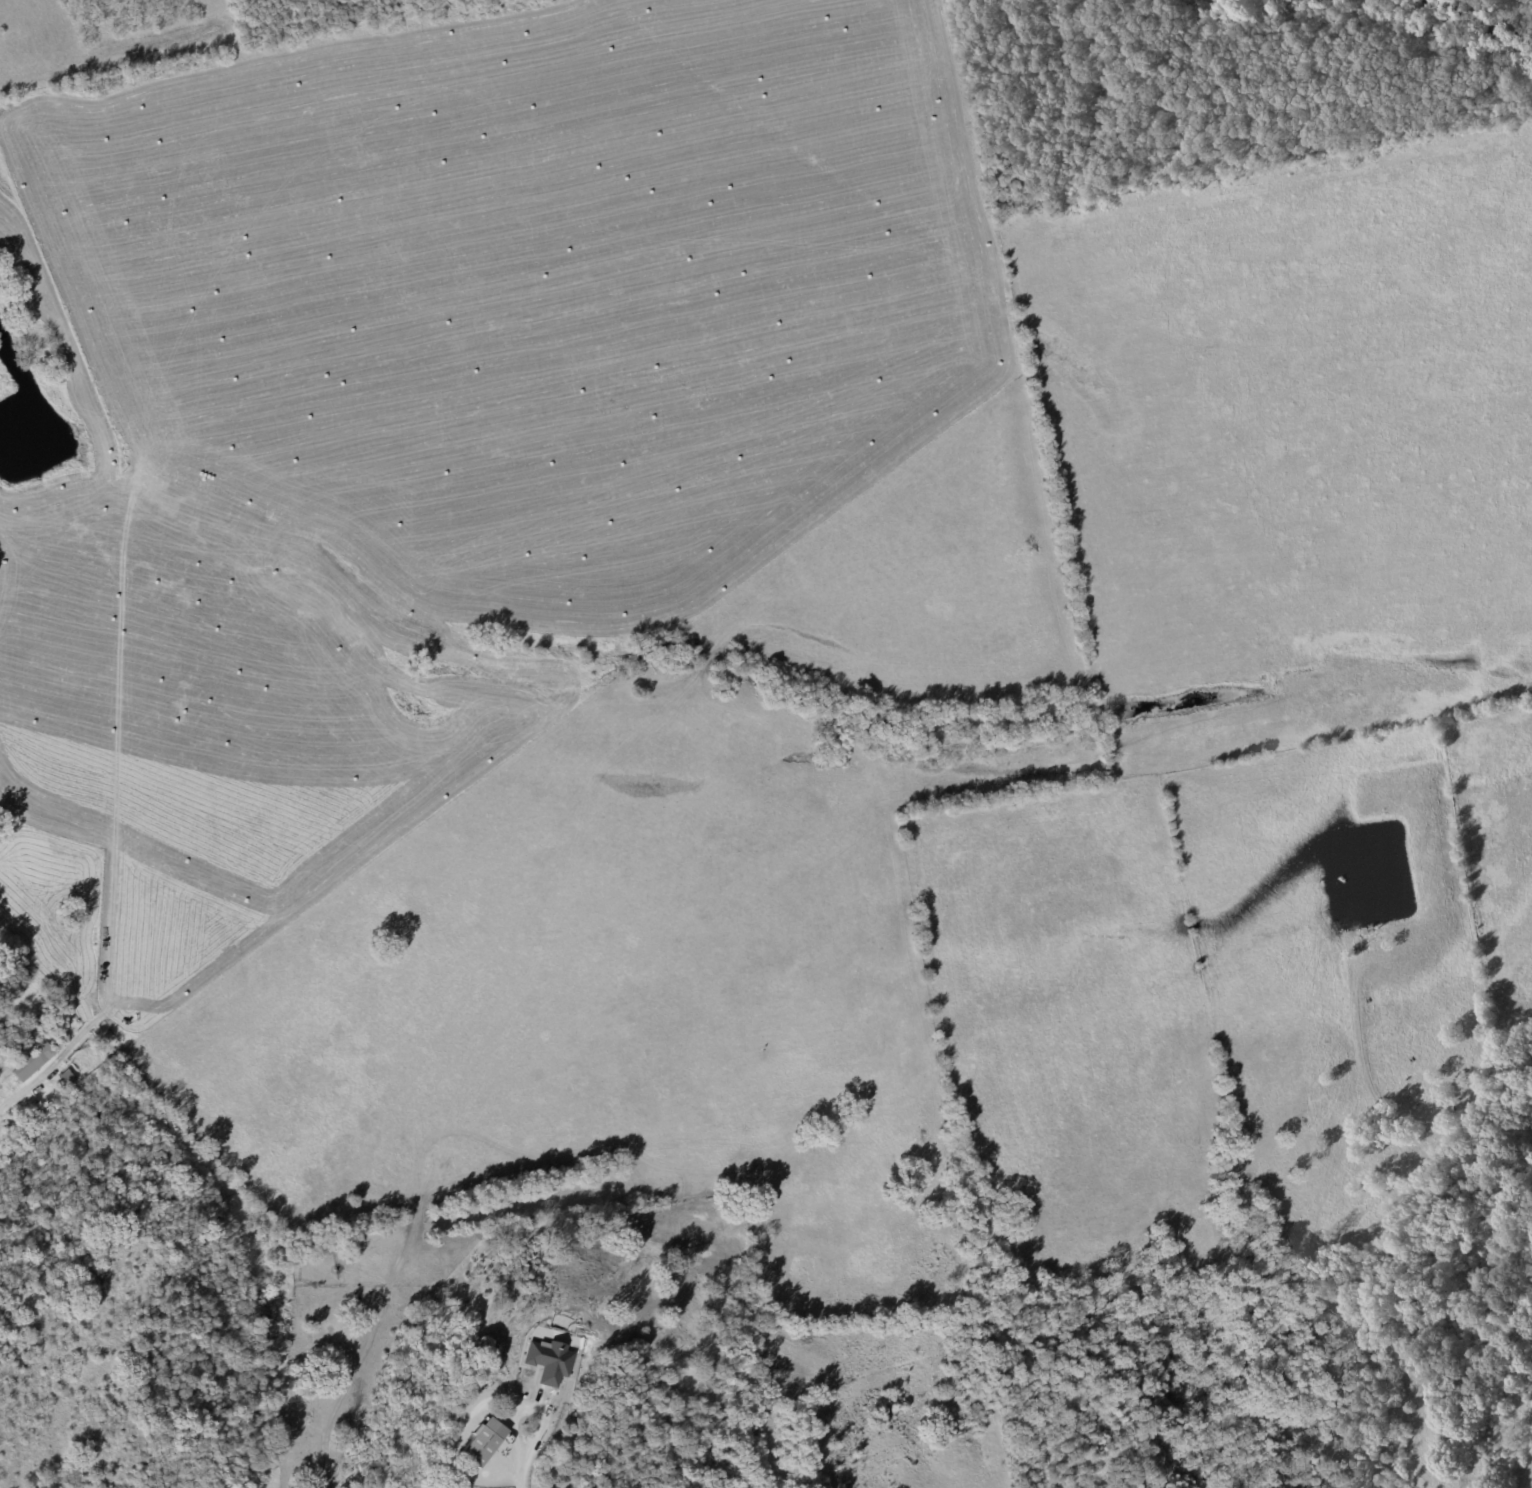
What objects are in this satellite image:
road: (16, 1094)
building: (545, 1361)
building: (480, 1442)
road: (528, 1445)

